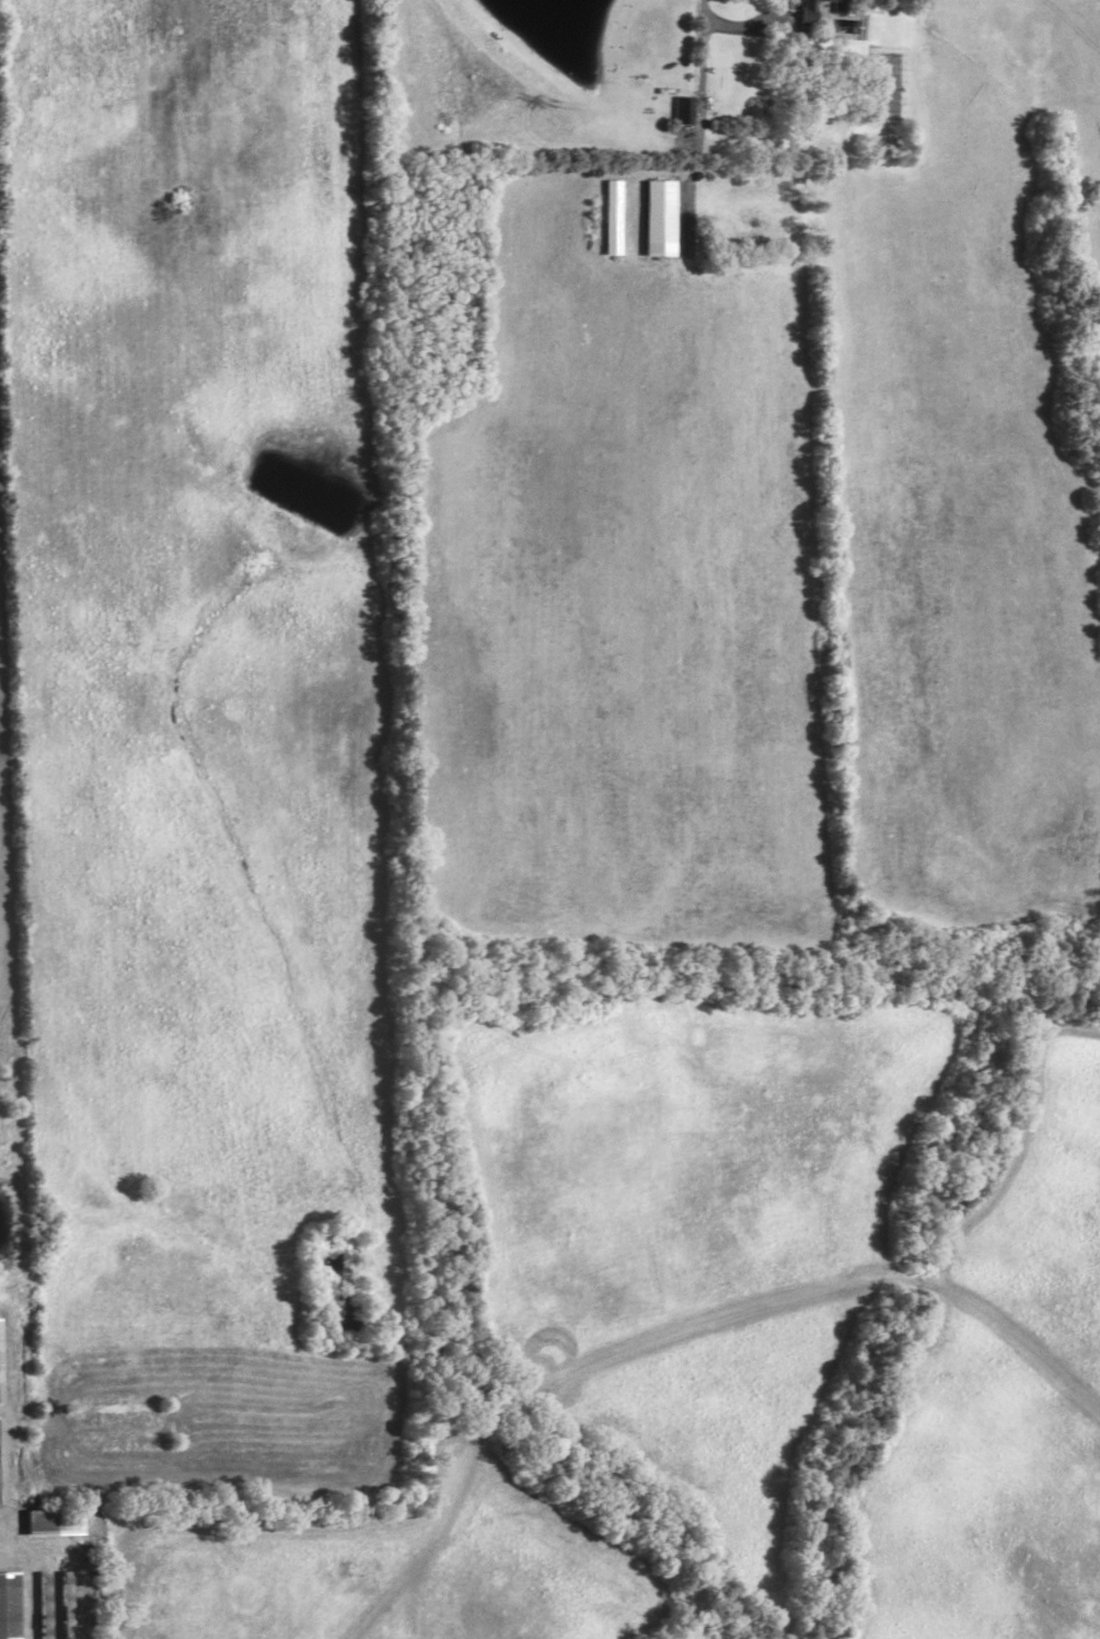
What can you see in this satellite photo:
building: (835, 4)
building: (804, 13)
building: (683, 108)
building: (612, 216)
building: (659, 216)
building: (0, 1457)
building: (51, 1519)
building: (44, 1602)
building: (8, 1604)

